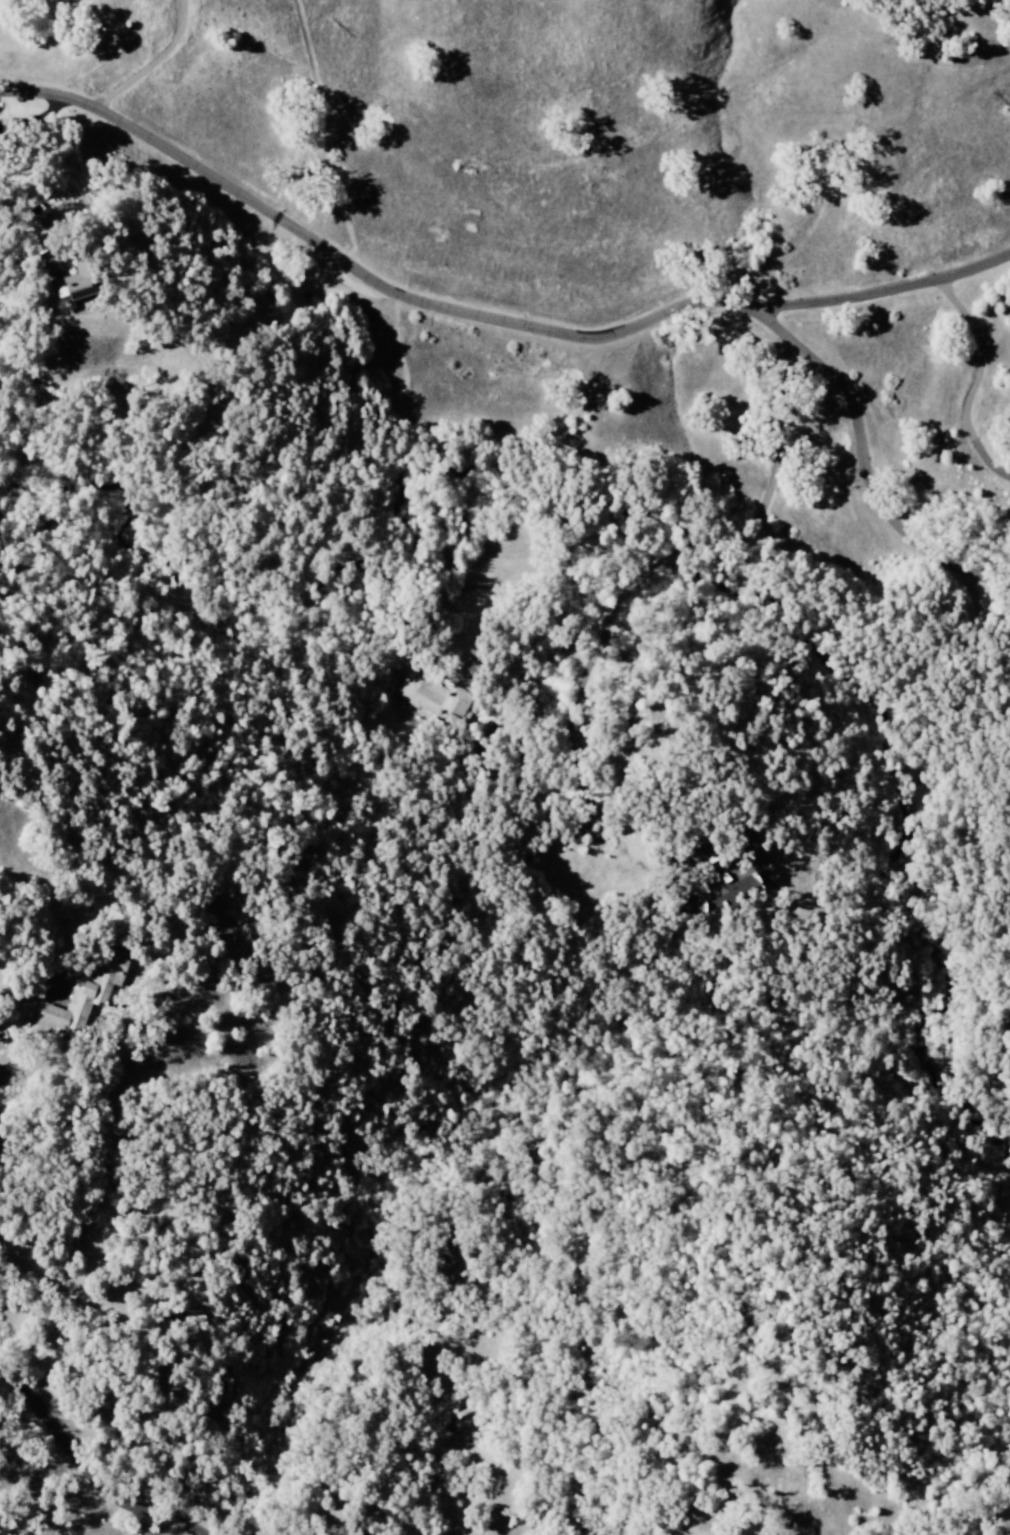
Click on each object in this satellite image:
road: (153, 60)
road: (885, 288)
road: (550, 326)
building: (435, 691)
building: (734, 879)
road: (95, 1465)

